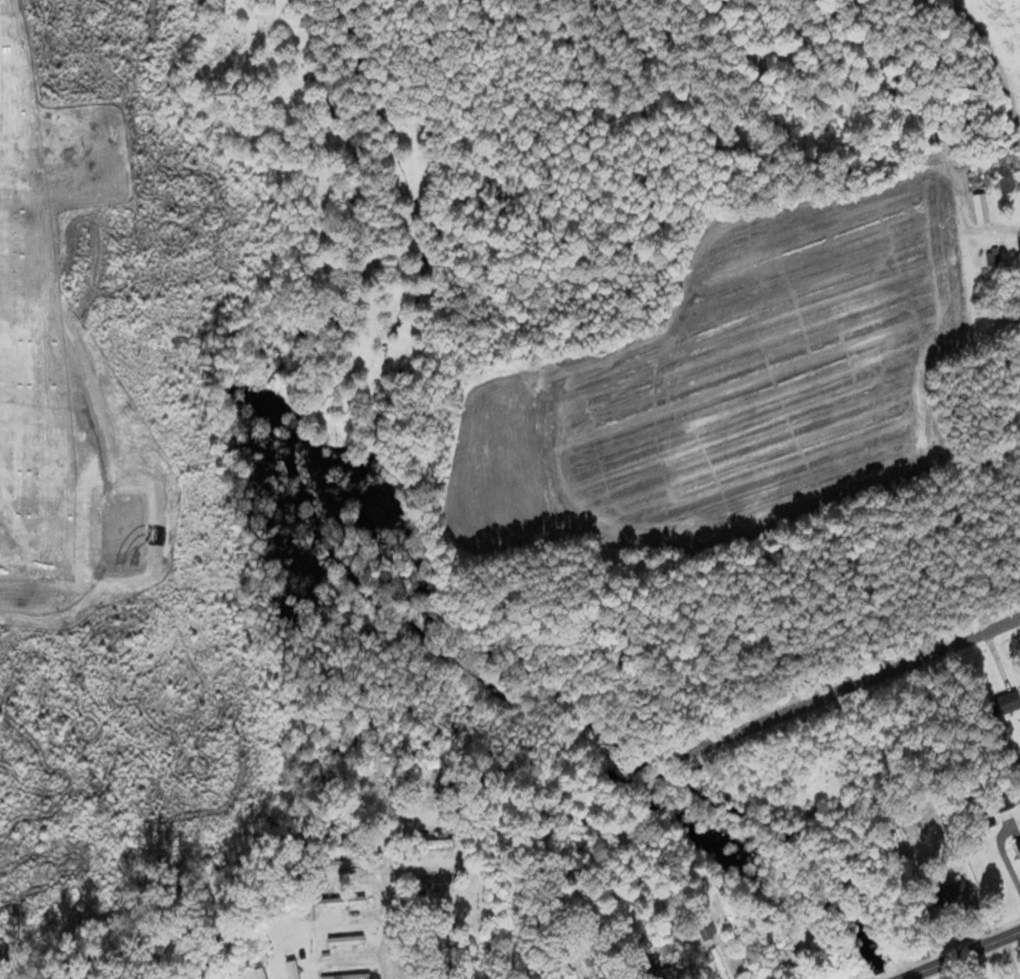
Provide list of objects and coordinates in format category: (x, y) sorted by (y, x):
building: (1006, 178)
building: (982, 208)
building: (994, 260)
solar farm: (83, 354)
road: (852, 684)
building: (899, 831)
building: (1019, 837)
building: (439, 842)
building: (345, 863)
building: (439, 881)
building: (956, 890)
building: (341, 900)
road: (389, 918)
building: (347, 940)
road: (958, 953)
building: (261, 972)
building: (346, 976)

